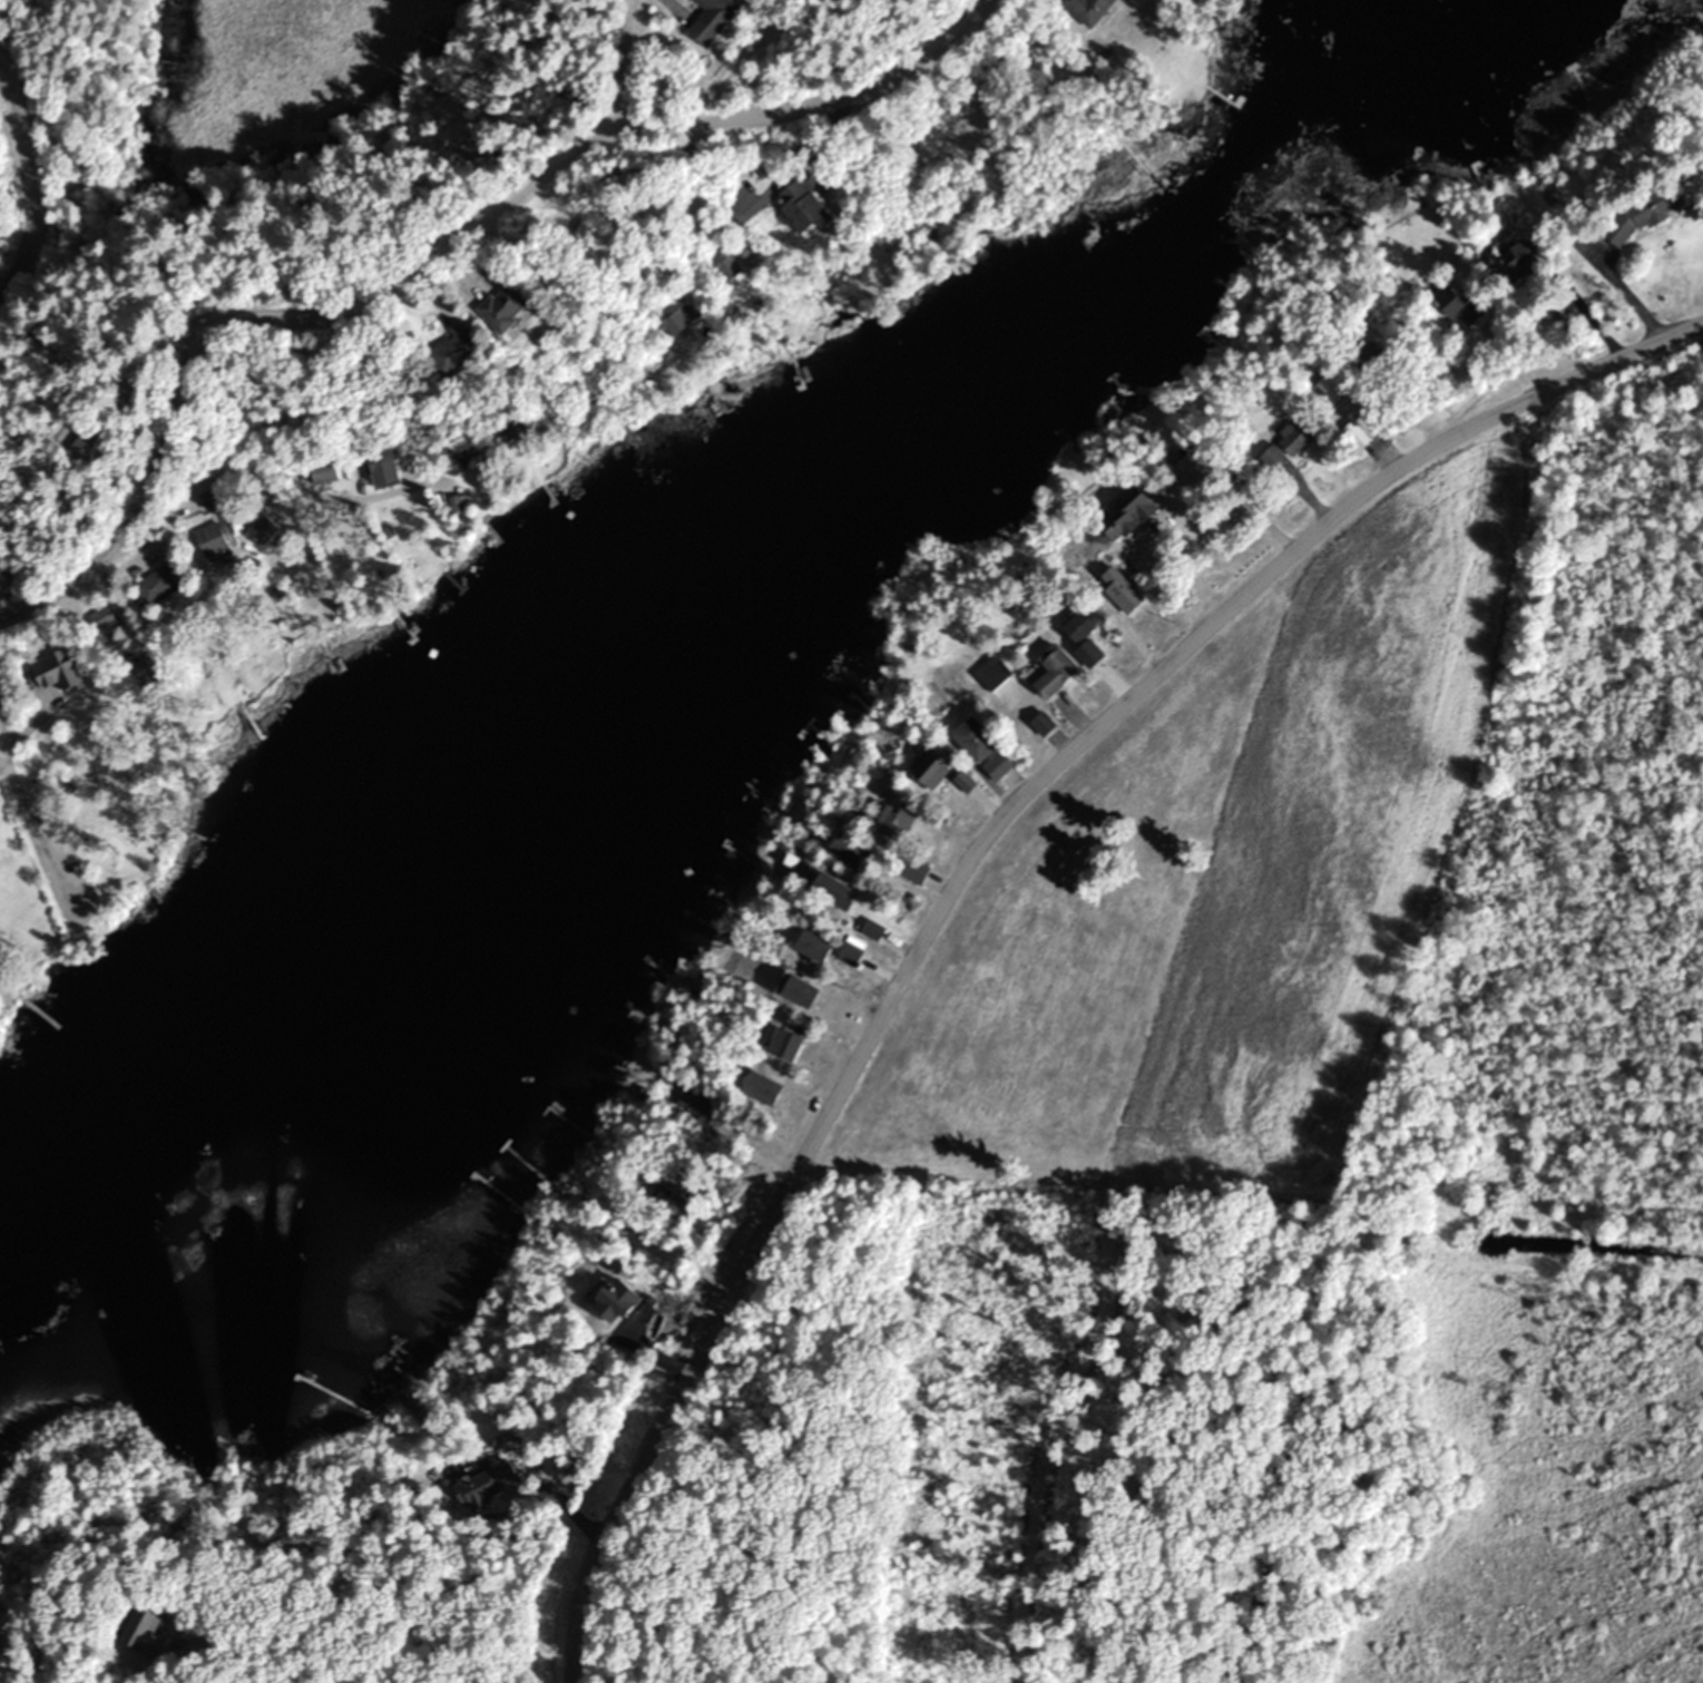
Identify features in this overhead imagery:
building: (1085, 10)
building: (709, 19)
road: (650, 53)
road: (27, 190)
building: (800, 206)
building: (1516, 257)
road: (422, 261)
building: (723, 264)
building: (1451, 303)
building: (503, 305)
building: (677, 312)
building: (454, 349)
road: (599, 361)
building: (1327, 381)
building: (507, 433)
building: (1352, 434)
building: (88, 439)
building: (459, 447)
building: (1190, 464)
building: (381, 467)
building: (322, 471)
building: (207, 498)
building: (1234, 512)
building: (1124, 513)
building: (260, 529)
building: (209, 540)
building: (156, 584)
building: (1116, 597)
building: (101, 623)
building: (1076, 627)
building: (1087, 654)
building: (50, 671)
building: (1051, 672)
building: (990, 675)
building: (1039, 725)
building: (971, 740)
road: (2, 757)
building: (995, 766)
building: (929, 770)
building: (961, 783)
building: (893, 821)
road: (29, 830)
building: (846, 851)
road: (975, 867)
building: (909, 870)
building: (825, 887)
building: (870, 930)
building: (811, 946)
building: (849, 950)
building: (795, 990)
building: (782, 1045)
building: (758, 1087)
building: (695, 1100)
building: (613, 1302)
building: (482, 1484)
building: (143, 1634)

